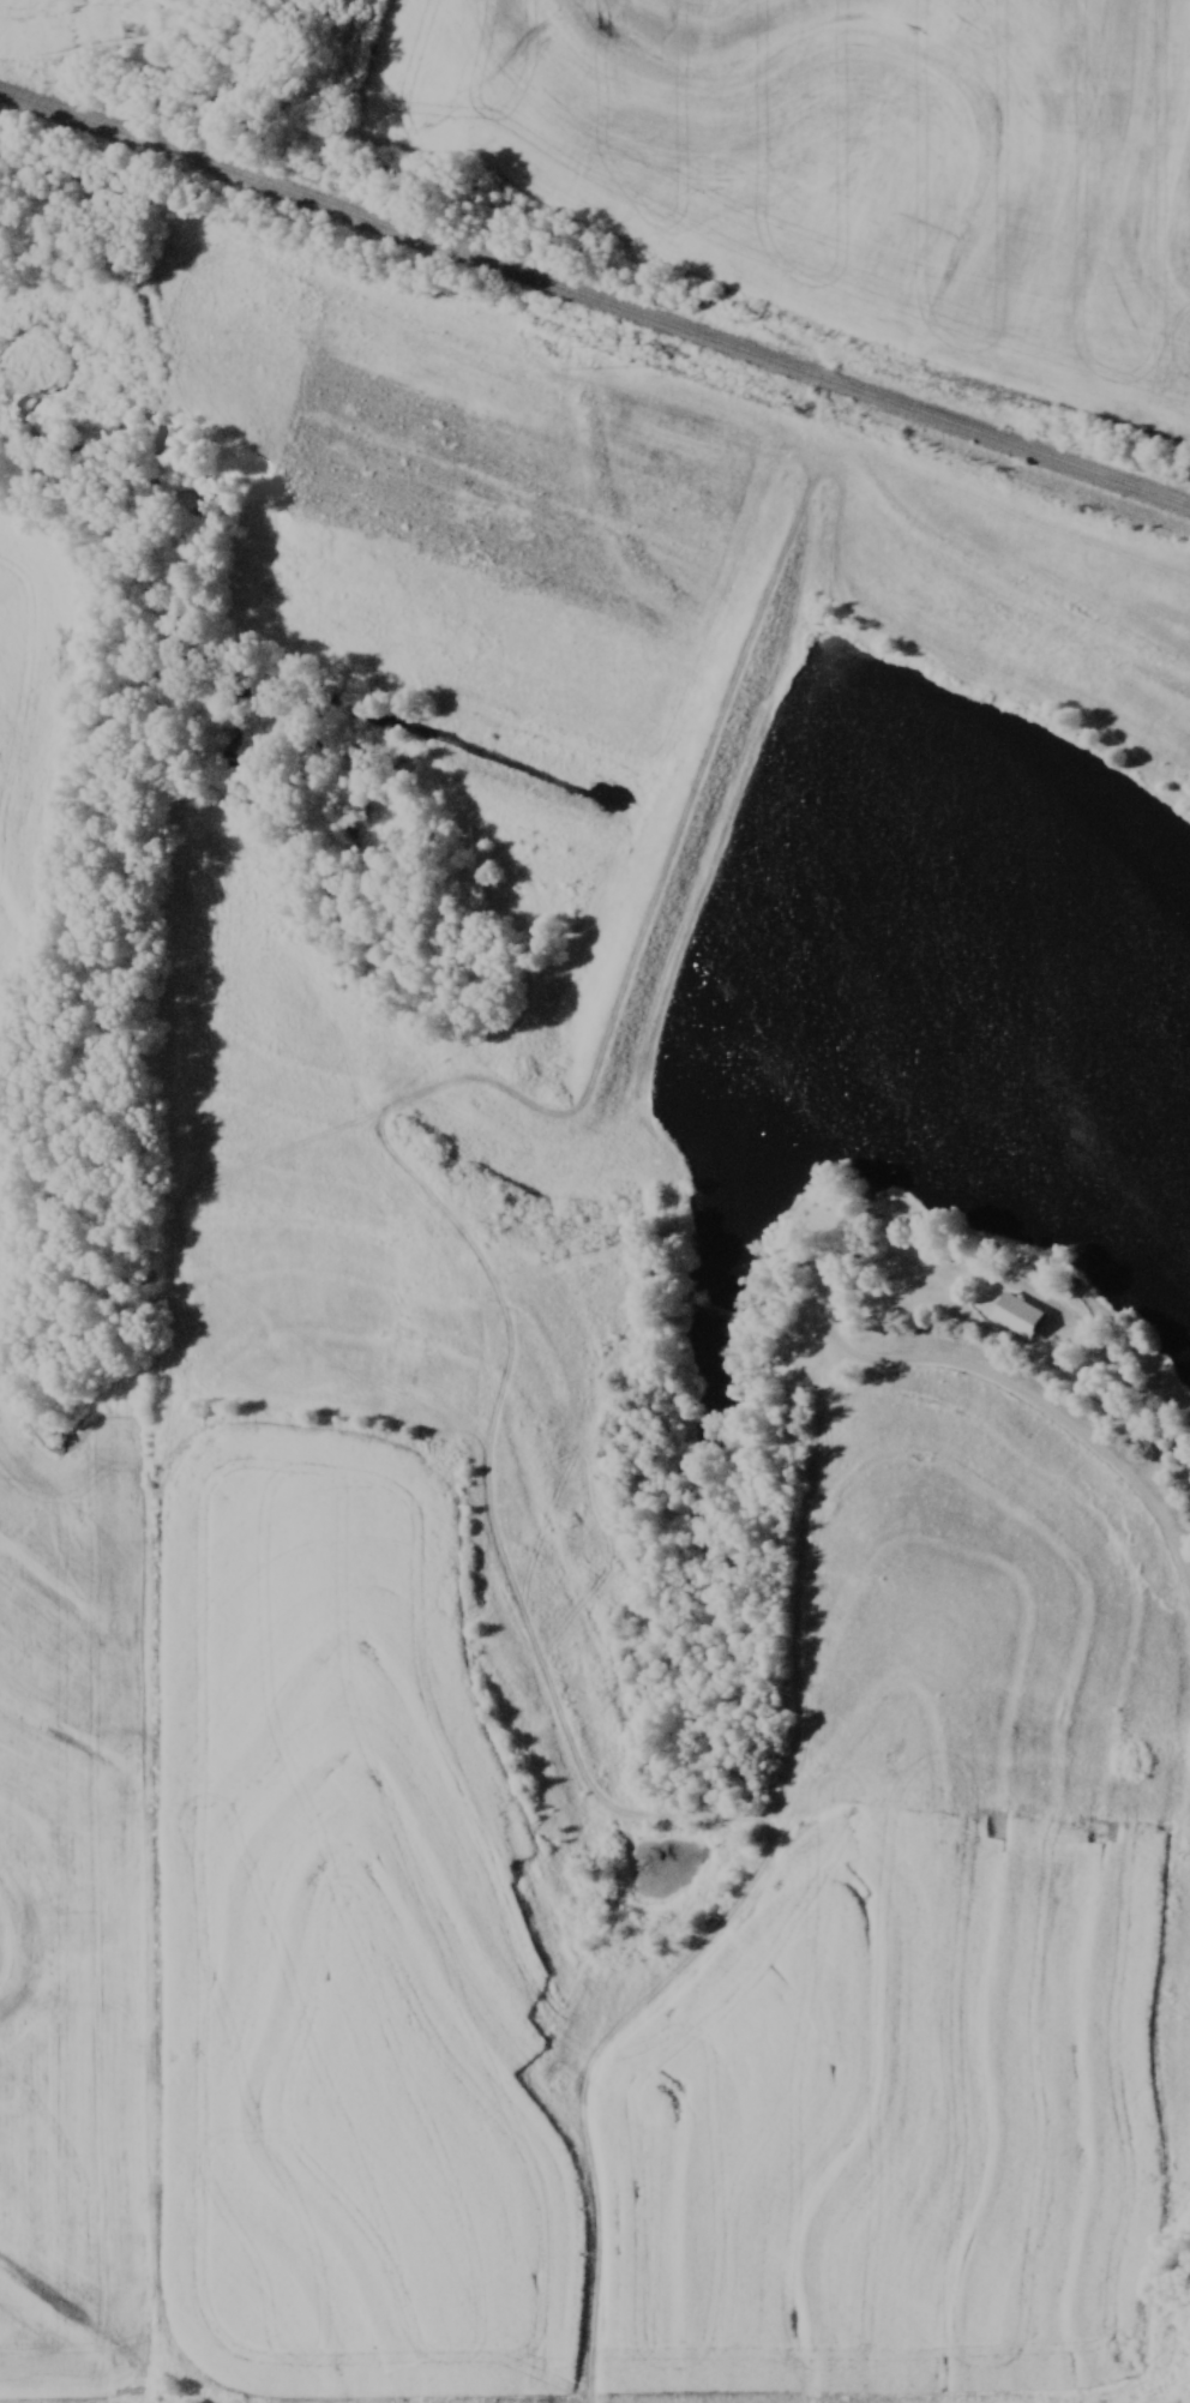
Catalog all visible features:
railway: (595, 294)
power tower: (591, 353)
building: (1024, 1270)

